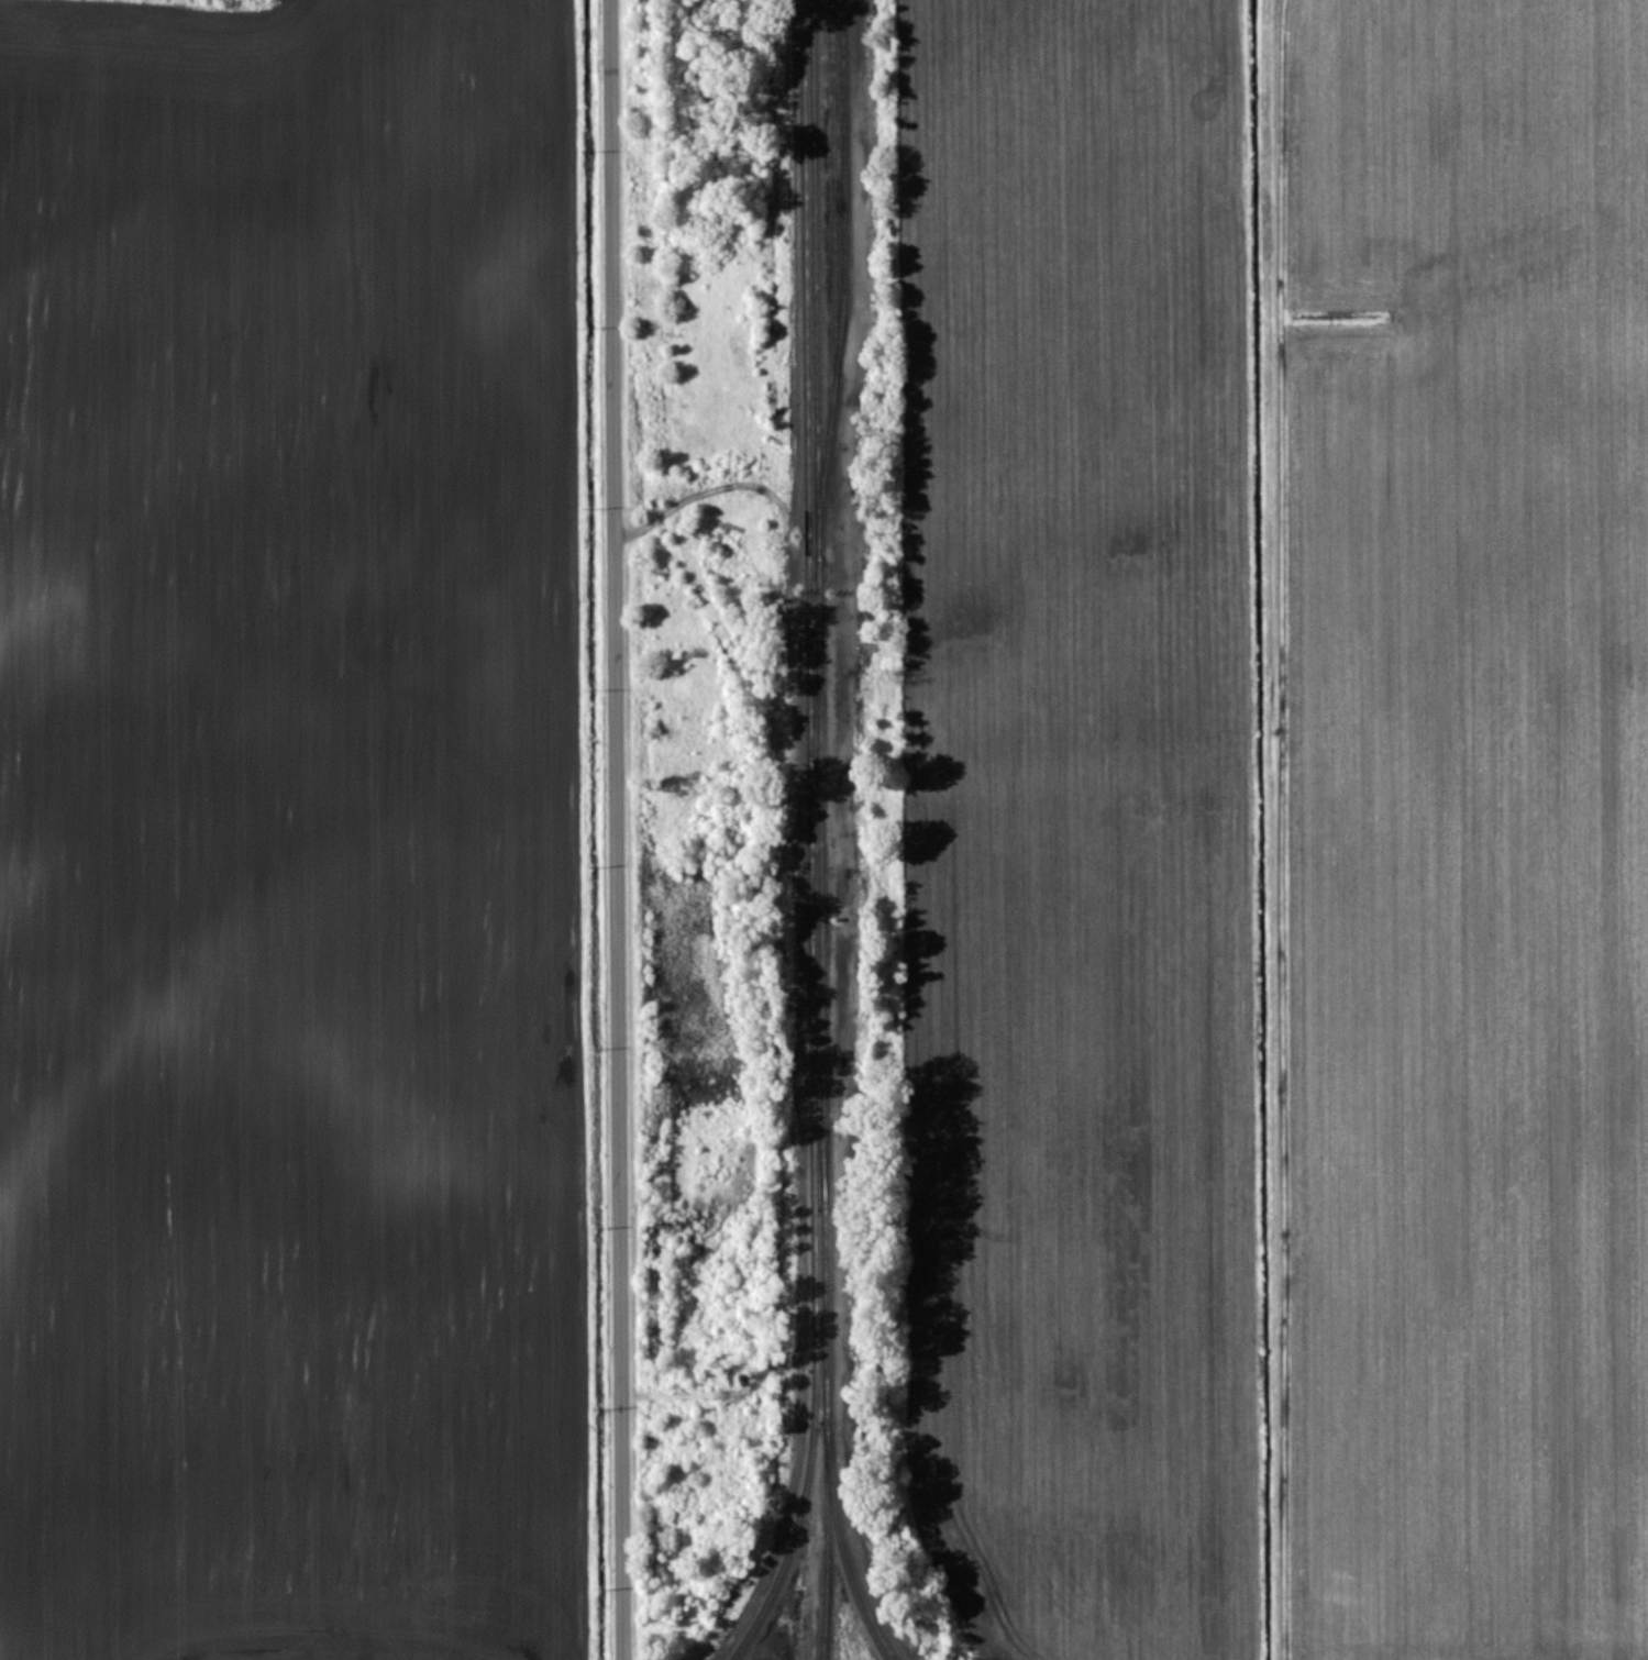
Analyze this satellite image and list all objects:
railway: (842, 186)
railway: (851, 269)
railway: (825, 563)
railway: (816, 691)
railway: (821, 712)
road: (624, 830)
road: (1287, 830)
railway: (828, 1336)
railway: (799, 1528)
railway: (829, 1542)

